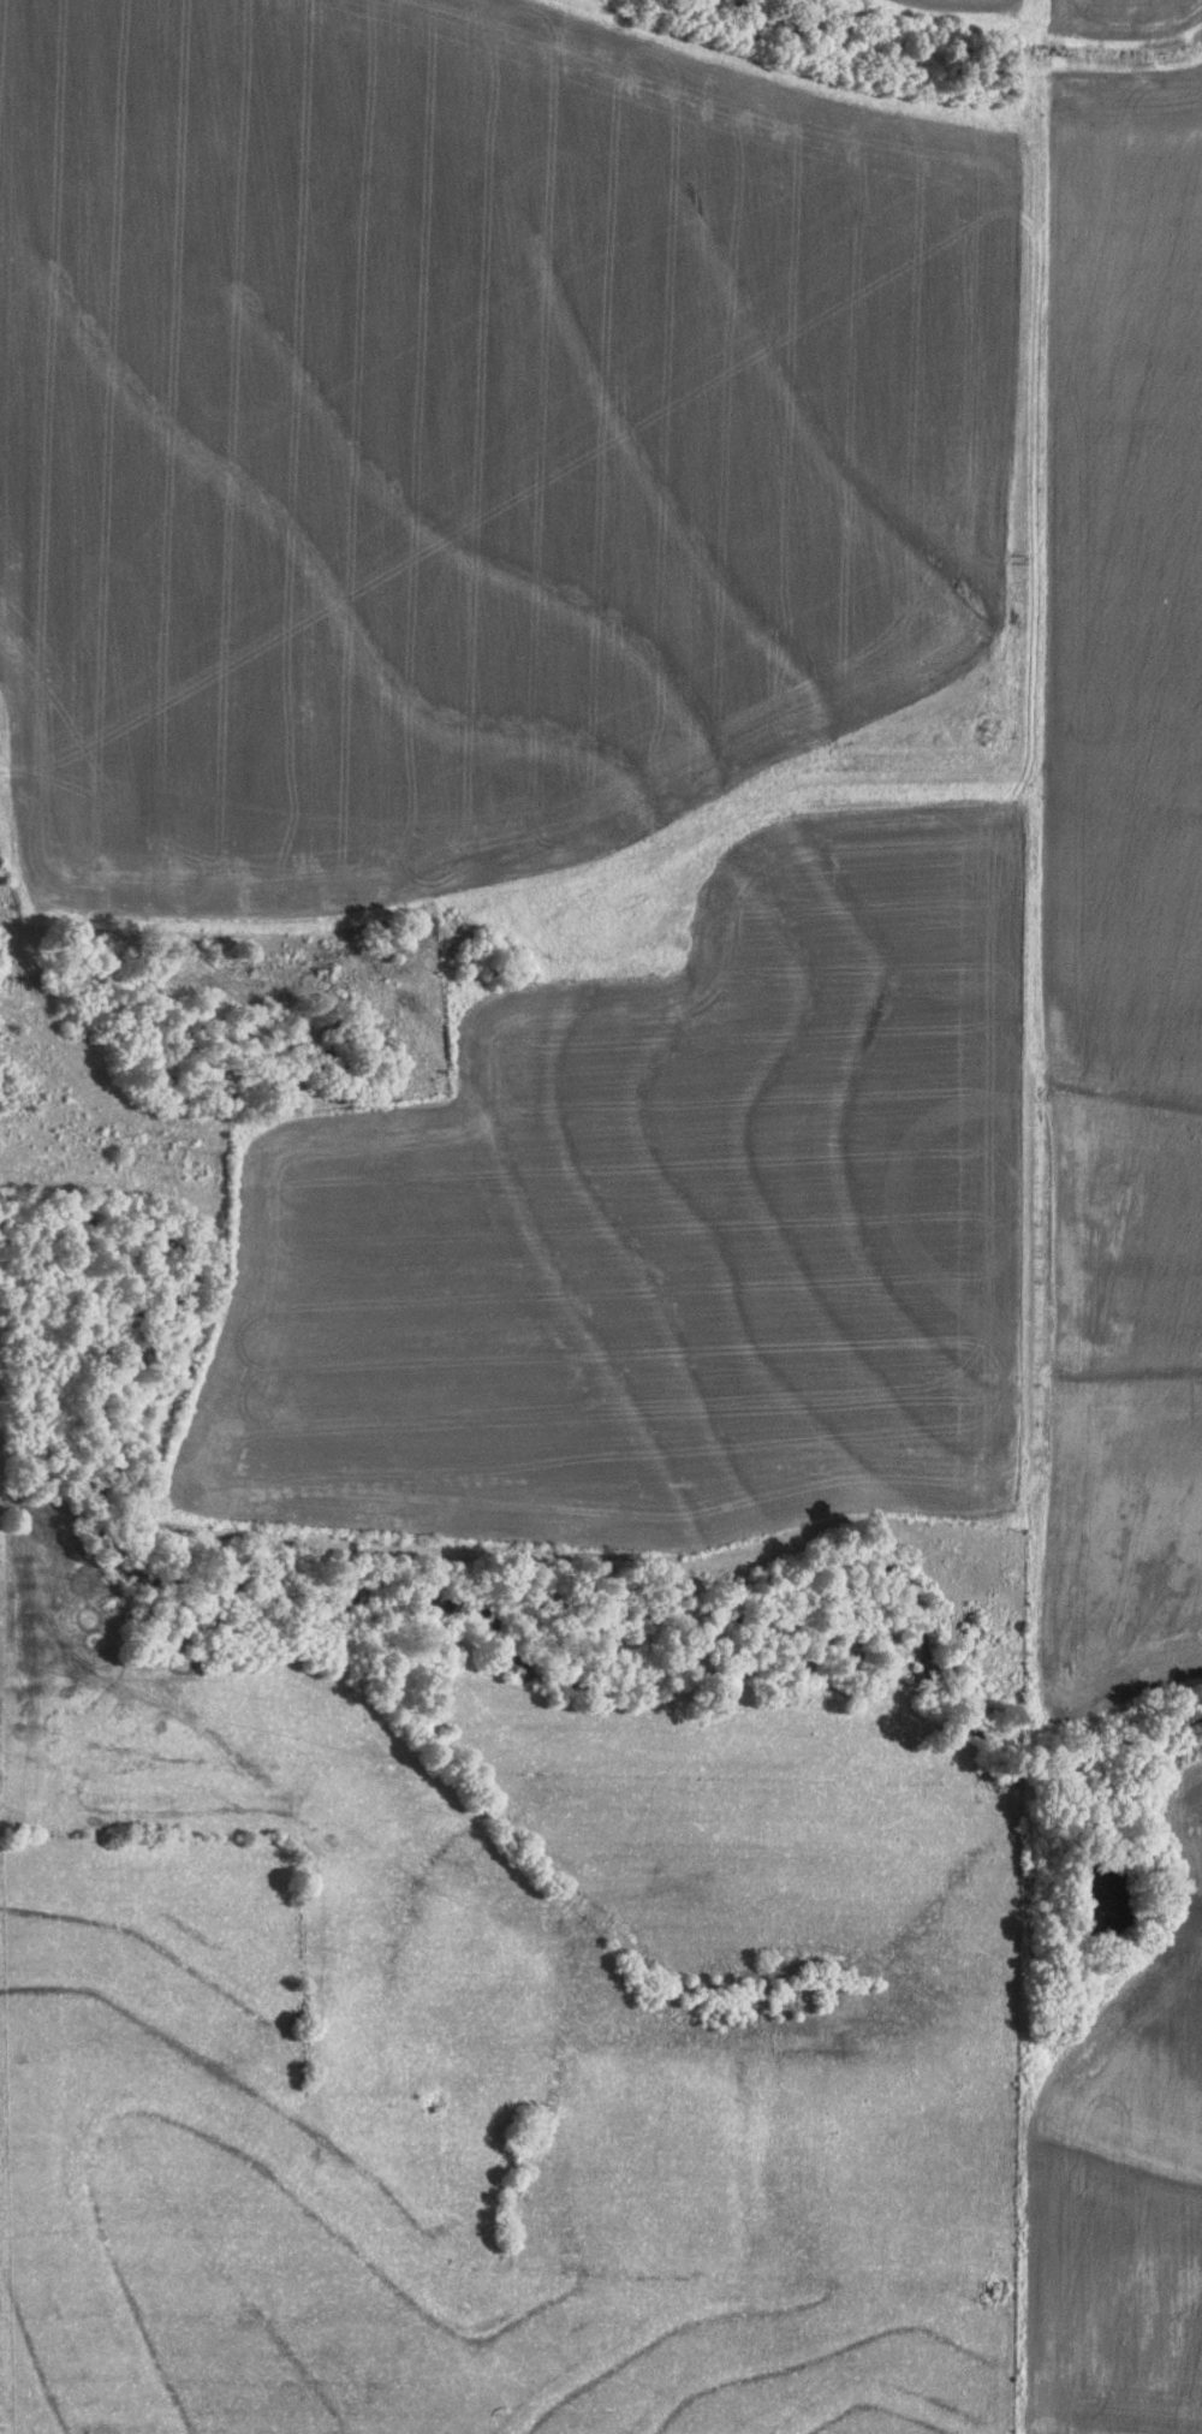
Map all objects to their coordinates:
road: (162, 921)

